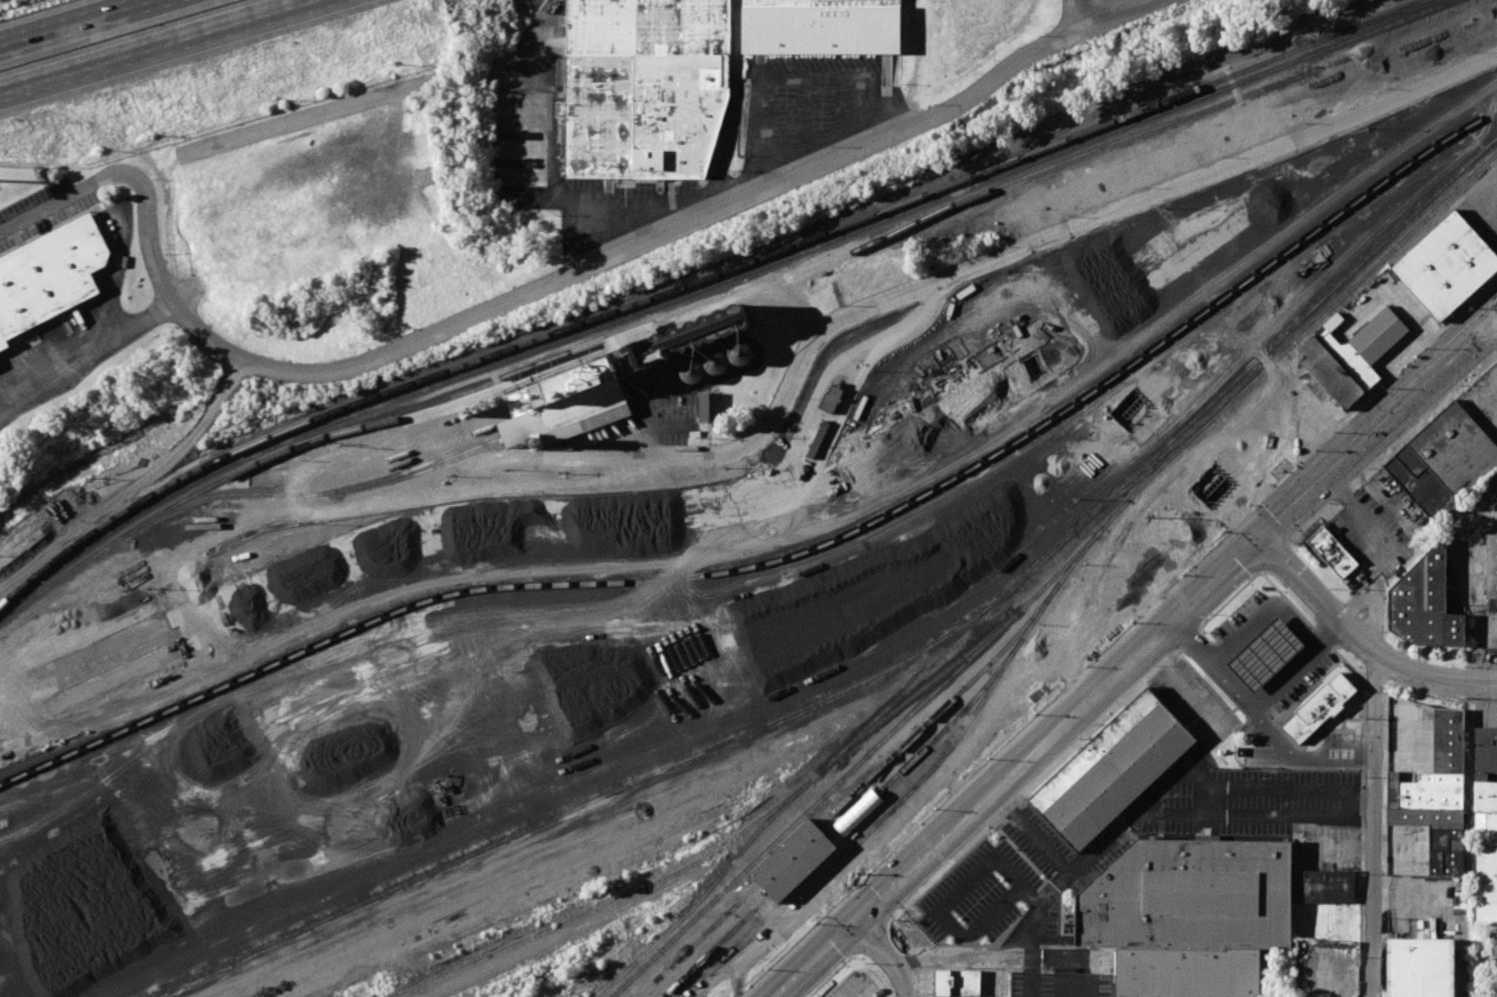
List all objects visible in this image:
road: (1085, 15)
road: (1118, 15)
railway: (1485, 18)
railway: (1374, 19)
railway: (1382, 19)
road: (91, 26)
building: (821, 27)
railway: (1375, 30)
road: (146, 42)
railway: (1315, 61)
road: (805, 79)
building: (646, 86)
railway: (1124, 98)
road: (848, 104)
road: (1380, 107)
road: (829, 137)
road: (768, 158)
road: (1480, 188)
road: (53, 204)
road: (1118, 213)
building: (1446, 267)
road: (116, 274)
building: (50, 276)
road: (556, 283)
railway: (649, 298)
railway: (634, 313)
railway: (668, 322)
building: (1378, 336)
street lamp: (1425, 348)
road: (88, 360)
building: (1351, 361)
building: (1329, 373)
building: (619, 381)
street lamp: (1457, 385)
building: (832, 398)
road: (1406, 402)
building: (709, 407)
railway: (371, 428)
street lamp: (1334, 431)
road: (764, 432)
road: (1391, 448)
building: (1456, 450)
flagpole: (1285, 462)
flagpole: (1279, 466)
road: (1292, 466)
railway: (424, 471)
flagpole: (1274, 472)
railway: (1144, 473)
building: (1420, 483)
road: (134, 484)
railway: (316, 494)
road: (1288, 515)
street lamp: (1223, 530)
railway: (1045, 540)
street lamp: (1293, 541)
traffic signals: (1260, 542)
railway: (892, 543)
street lamp: (1293, 550)
building: (1332, 553)
railway: (793, 555)
road: (1276, 558)
railway: (1042, 560)
railway: (1074, 562)
building: (1492, 568)
railway: (942, 575)
street lamp: (1329, 587)
road: (1304, 589)
building: (1425, 603)
road: (1262, 609)
parking lot: (1241, 612)
street lamp: (1209, 615)
street lamp: (1401, 650)
building: (1265, 657)
gas station: (1265, 657)
street lamp: (1086, 665)
street lamp: (1155, 665)
road: (1293, 665)
railway: (881, 672)
road: (1418, 674)
parking lot: (1301, 685)
building: (1030, 691)
street lamp: (1365, 691)
railway: (940, 711)
building: (1320, 711)
gas station: (1320, 711)
railway: (635, 712)
road: (1260, 720)
railway: (954, 721)
parking lot: (1339, 738)
street lamp: (1079, 739)
railway: (566, 754)
street lamp: (989, 757)
railway: (616, 761)
road: (1362, 762)
railway: (857, 763)
road: (1017, 769)
building: (1111, 773)
building: (1428, 778)
road: (1149, 792)
road: (1360, 797)
road: (1206, 800)
street lamp: (936, 807)
building: (858, 813)
road: (1247, 816)
railway: (577, 817)
road: (1374, 826)
building: (1486, 829)
railway: (563, 832)
railway: (834, 836)
railway: (562, 844)
building: (793, 863)
railway: (437, 869)
street lamp: (1363, 872)
street lamp: (867, 873)
road: (1013, 874)
railway: (197, 884)
railway: (608, 904)
building: (1199, 912)
building: (966, 914)
traffic signals: (859, 917)
street lamp: (896, 919)
street lamp: (814, 922)
road: (1029, 929)
railway: (698, 941)
railway: (714, 949)
road: (889, 954)
road: (956, 957)
street lamp: (1363, 958)
road: (1052, 959)
street lamp: (867, 963)
building: (1420, 968)
road: (1030, 978)
road: (1084, 978)
railway: (613, 980)
building: (956, 983)

